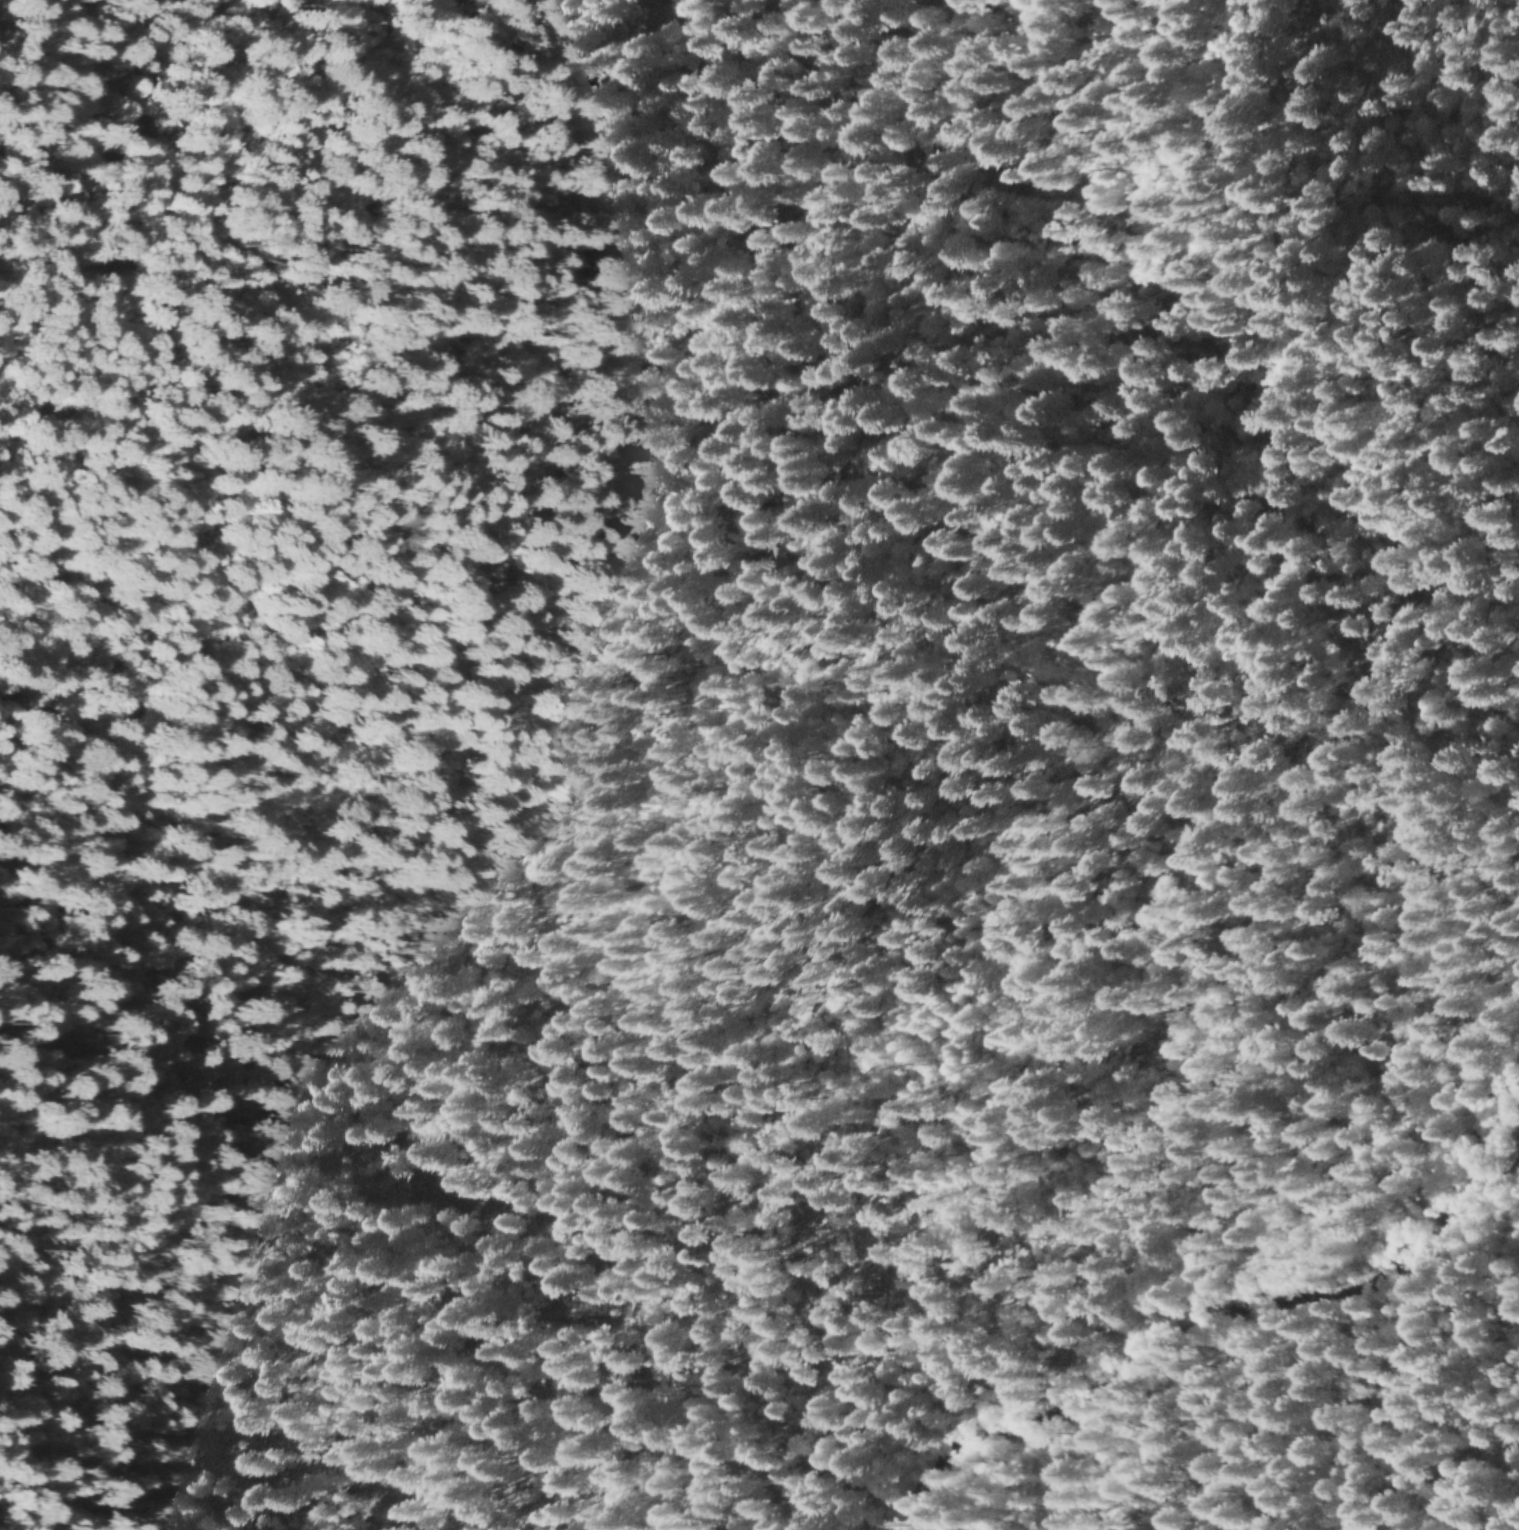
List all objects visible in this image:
building: (1516, 1115)
road: (1402, 1469)

